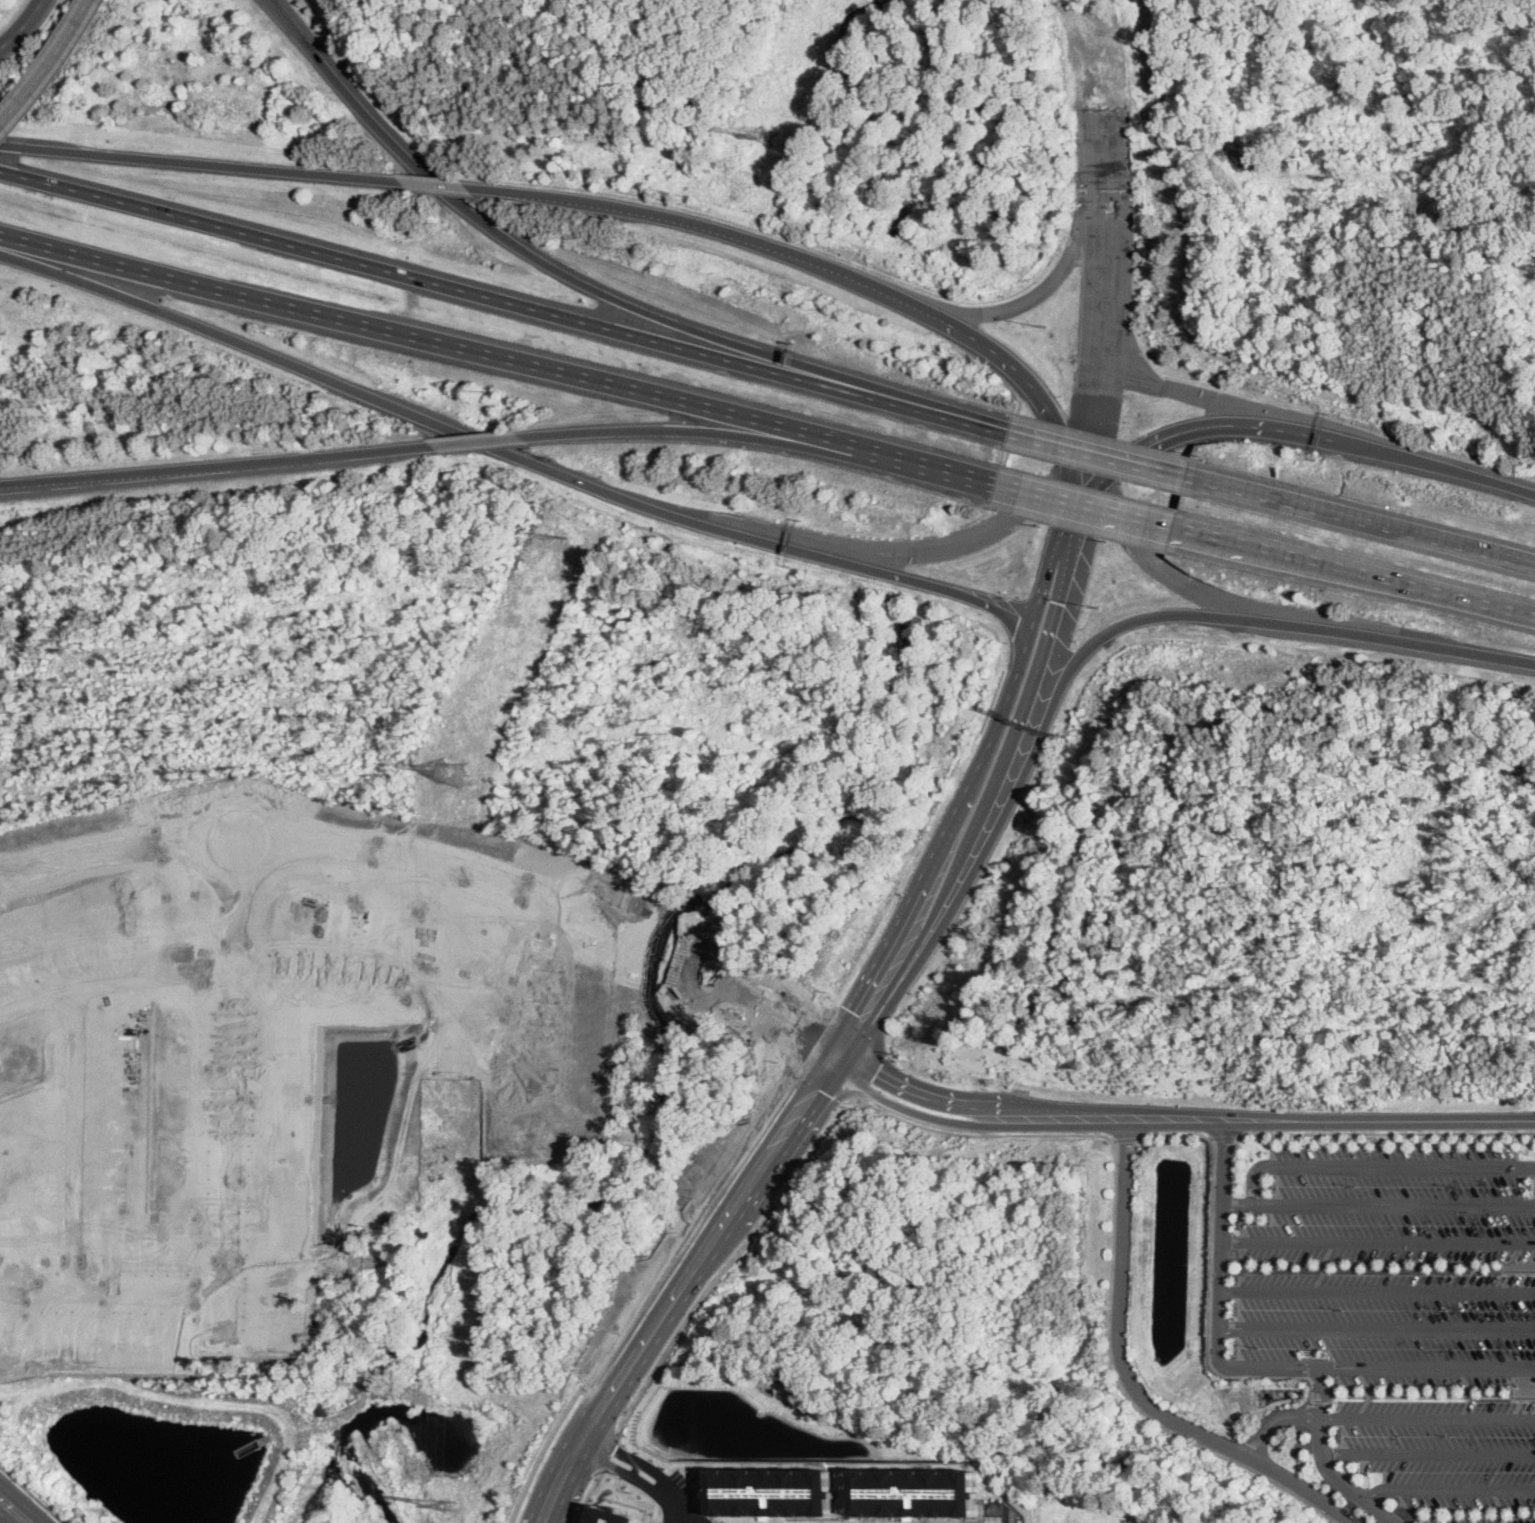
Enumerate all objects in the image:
road: (25, 27)
road: (295, 30)
road: (51, 68)
power tower: (766, 133)
road: (196, 163)
road: (432, 185)
road: (809, 259)
road: (506, 300)
road: (631, 305)
road: (1011, 307)
road: (1108, 315)
road: (500, 359)
road: (1198, 395)
road: (722, 433)
road: (1315, 436)
road: (479, 439)
road: (1083, 446)
road: (513, 454)
road: (1099, 454)
road: (1103, 455)
traffic signals: (1134, 457)
road: (254, 461)
road: (38, 481)
road: (1074, 490)
road: (1089, 498)
road: (1094, 507)
road: (1363, 521)
power tower: (566, 536)
road: (879, 548)
road: (1361, 575)
road: (1047, 576)
road: (1213, 596)
traffic signals: (1058, 602)
road: (1123, 625)
road: (999, 725)
road: (1008, 751)
power tower: (451, 772)
road: (206, 813)
road: (97, 852)
road: (572, 860)
road: (573, 903)
road: (896, 933)
road: (263, 968)
road: (536, 980)
traffic signals: (851, 1011)
road: (873, 1019)
road: (808, 1033)
traffic signals: (804, 1034)
traffic signals: (876, 1071)
road: (821, 1081)
traffic signals: (817, 1087)
road: (229, 1103)
road: (964, 1103)
road: (1318, 1118)
road: (958, 1124)
road: (1383, 1131)
road: (976, 1133)
road: (1220, 1136)
road: (1119, 1137)
road: (74, 1140)
road: (771, 1148)
road: (1376, 1166)
road: (1377, 1205)
road: (688, 1223)
road: (1377, 1241)
parking lot: (1395, 1265)
road: (721, 1270)
road: (1211, 1277)
road: (111, 1290)
road: (1376, 1291)
road: (1376, 1327)
road: (644, 1338)
road: (1253, 1369)
road: (1131, 1379)
road: (1128, 1389)
road: (1418, 1395)
road: (605, 1398)
road: (1320, 1401)
road: (1427, 1417)
road: (1275, 1421)
parking lot: (1444, 1449)
road: (544, 1451)
road: (608, 1453)
road: (1428, 1455)
road: (1323, 1463)
road: (651, 1471)
road: (557, 1479)
road: (591, 1487)
road: (1448, 1490)
building: (768, 1492)
building: (920, 1492)
road: (33, 1493)
power tower: (450, 1507)
road: (14, 1509)
road: (680, 1515)
building: (612, 1516)
parking lot: (1477, 1519)

